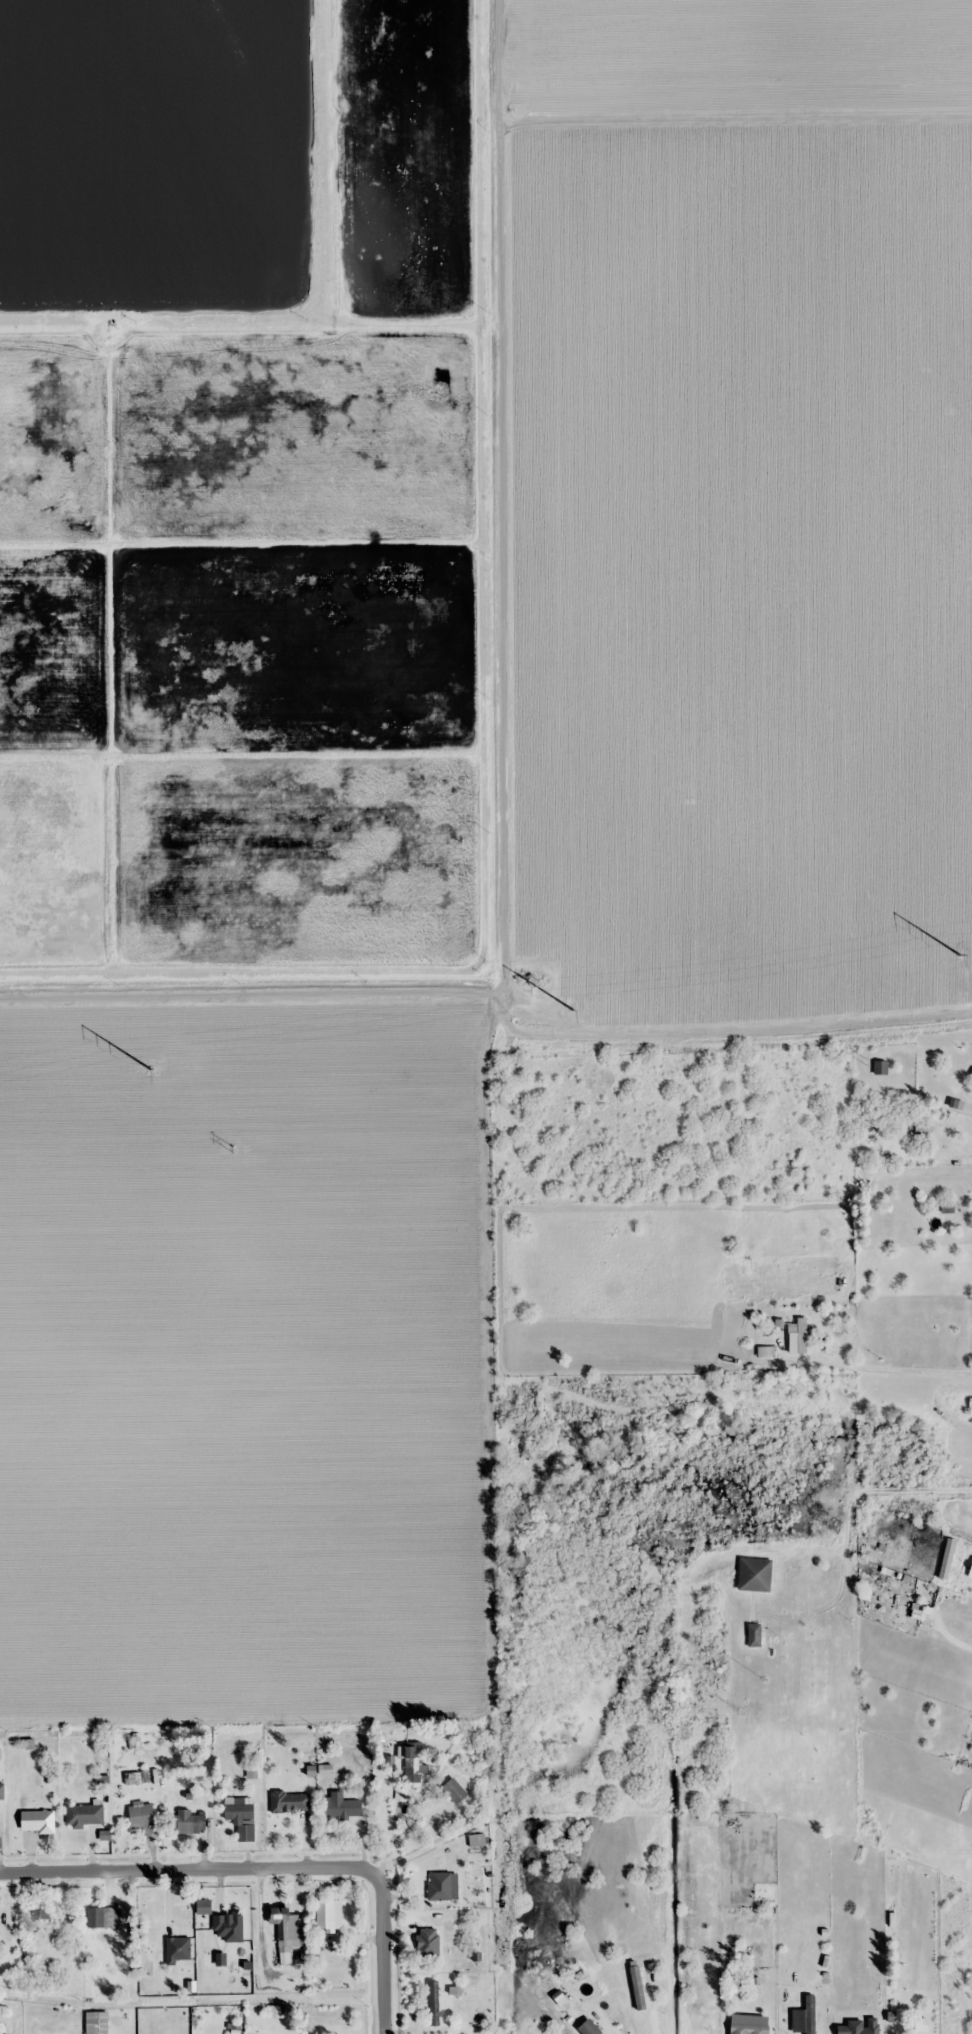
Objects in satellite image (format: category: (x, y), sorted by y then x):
road: (500, 496)
power tower: (959, 955)
road: (738, 988)
road: (252, 994)
power tower: (573, 1010)
power tower: (866, 1062)
building: (881, 1067)
power tower: (152, 1069)
power tower: (515, 1110)
building: (923, 1131)
power tower: (233, 1150)
building: (802, 1334)
road: (925, 1493)
building: (755, 1573)
building: (755, 1634)
building: (413, 1762)
building: (454, 1791)
building: (290, 1802)
building: (341, 1806)
building: (85, 1814)
building: (141, 1816)
building: (242, 1816)
building: (39, 1820)
building: (188, 1821)
road: (268, 1867)
building: (440, 1886)
building: (41, 1913)
building: (328, 1913)
building: (102, 1917)
building: (228, 1926)
building: (290, 1927)
building: (429, 1941)
building: (178, 1949)
building: (841, 1965)
building: (638, 1987)
building: (434, 2004)
building: (806, 2016)
building: (590, 2027)
building: (750, 2029)

